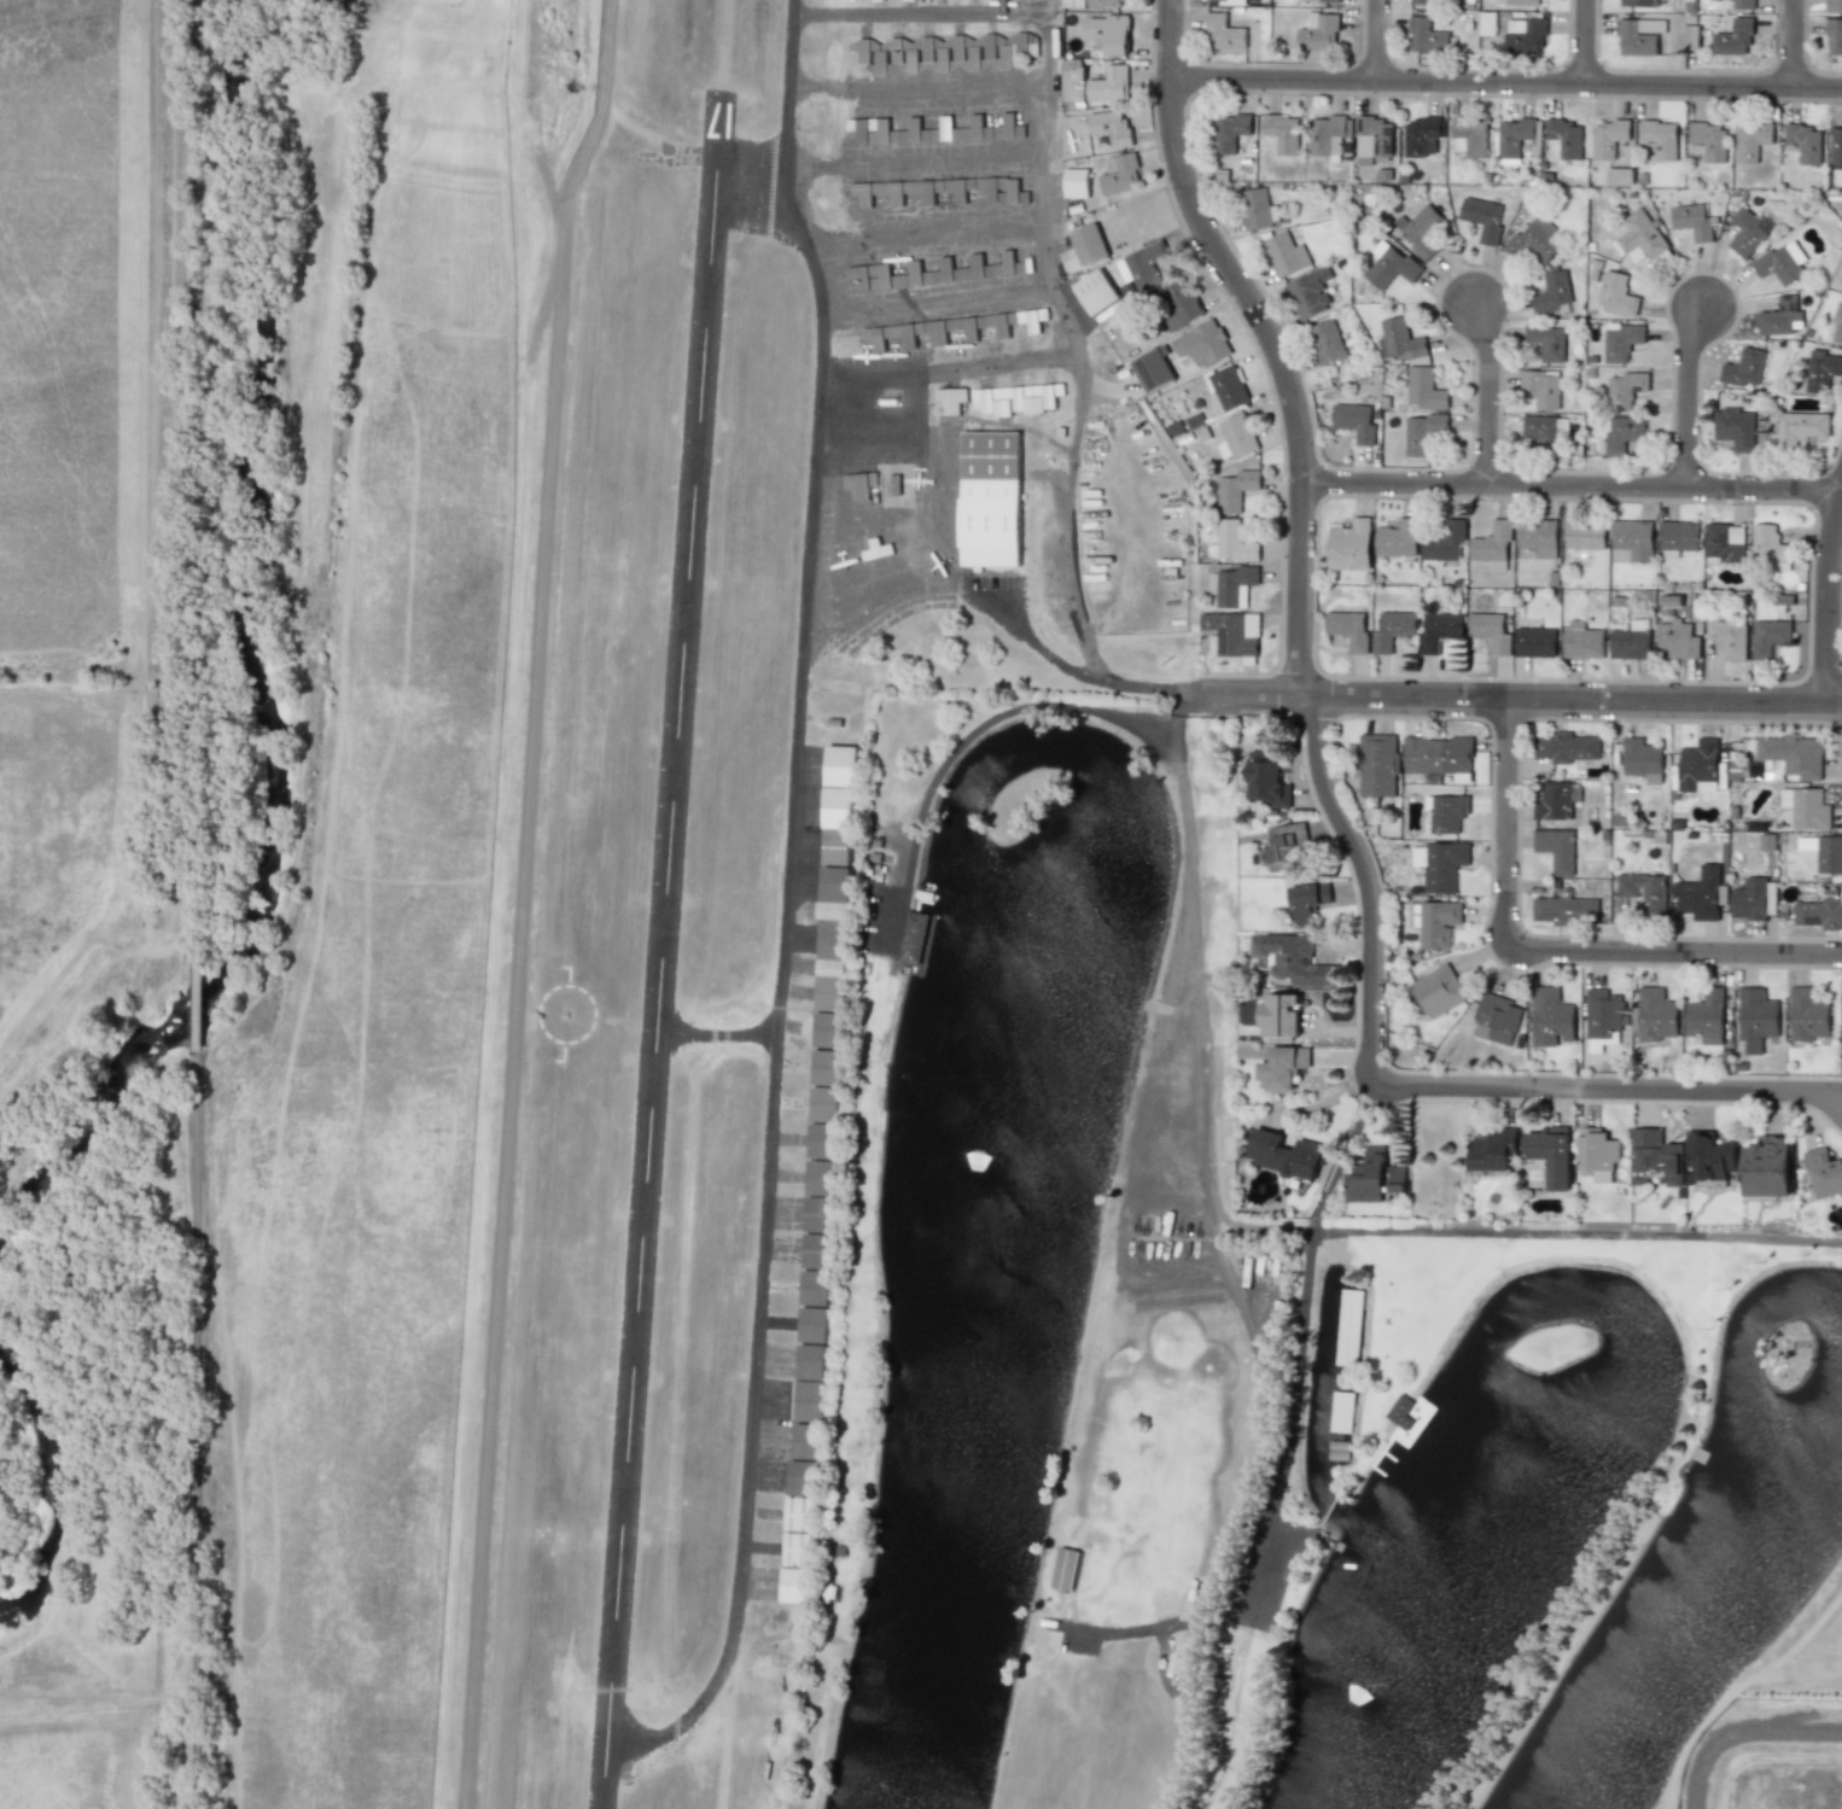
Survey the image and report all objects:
building: (1216, 0)
building: (1328, 0)
building: (1420, 1)
building: (1073, 2)
building: (1107, 2)
building: (1525, 2)
building: (1638, 2)
building: (1743, 4)
building: (1834, 6)
airport taxiway: (913, 13)
building: (1487, 23)
building: (1222, 31)
building: (1318, 31)
building: (1109, 33)
building: (1525, 35)
building: (1639, 35)
building: (1427, 36)
building: (1692, 36)
building: (1834, 36)
road: (1377, 37)
building: (1735, 37)
road: (1586, 40)
road: (1795, 41)
building: (943, 53)
road: (1506, 77)
building: (1073, 82)
airport taxiway: (792, 83)
building: (1109, 84)
airport taxiway: (915, 86)
building: (1111, 127)
building: (990, 128)
building: (869, 129)
building: (923, 132)
building: (1282, 132)
building: (1327, 135)
building: (1516, 135)
building: (1422, 136)
building: (1469, 136)
building: (1566, 136)
building: (1609, 136)
building: (1372, 138)
building: (1660, 138)
building: (1709, 140)
building: (1751, 141)
building: (1803, 141)
building: (1836, 145)
airport taxiway: (882, 162)
building: (1119, 174)
building: (1619, 176)
building: (1076, 182)
building: (925, 189)
building: (1010, 191)
airport apron: (949, 197)
building: (1255, 208)
building: (1483, 216)
building: (1692, 221)
building: (1420, 229)
building: (1747, 230)
building: (1638, 235)
airport taxiway: (921, 238)
building: (1534, 240)
building: (1088, 244)
building: (1286, 253)
building: (1779, 262)
building: (1005, 265)
building: (1142, 265)
building: (1391, 265)
building: (970, 268)
building: (899, 275)
building: (1096, 291)
building: (1310, 291)
building: (1552, 292)
building: (1616, 293)
airport taxiway: (928, 297)
building: (1178, 307)
building: (1780, 316)
building: (1837, 325)
building: (946, 328)
road: (1275, 338)
building: (1400, 339)
building: (1622, 340)
building: (1328, 342)
building: (1549, 342)
building: (1207, 343)
building: (1744, 367)
building: (1153, 368)
airport taxiway: (939, 369)
building: (1821, 369)
building: (1543, 386)
building: (1228, 387)
building: (1423, 389)
building: (1626, 389)
road: (1493, 391)
road: (1692, 392)
building: (951, 399)
building: (1354, 421)
building: (1801, 426)
building: (1735, 427)
building: (1544, 428)
building: (1423, 432)
building: (1236, 434)
building: (1621, 434)
road: (191, 471)
road: (1574, 482)
building: (861, 484)
building: (894, 485)
building: (1236, 489)
airport apron: (882, 491)
building: (990, 498)
building: (1585, 535)
building: (1538, 536)
building: (1677, 537)
building: (1397, 538)
building: (1631, 539)
building: (1444, 541)
building: (1231, 542)
building: (1725, 543)
building: (1350, 544)
building: (1492, 545)
building: (1770, 547)
building: (875, 549)
building: (1232, 584)
road: (1831, 602)
building: (1348, 629)
building: (1392, 630)
building: (1439, 630)
building: (1491, 631)
road: (1083, 635)
building: (1730, 635)
building: (1768, 636)
building: (1582, 640)
building: (1675, 640)
building: (1535, 641)
building: (1631, 641)
road: (1032, 642)
road: (1526, 698)
road: (983, 724)
building: (1564, 746)
building: (1793, 753)
building: (1438, 755)
building: (1642, 759)
building: (1377, 765)
building: (1698, 766)
building: (1265, 780)
building: (840, 787)
building: (1556, 799)
building: (1806, 807)
building: (1446, 812)
building: (1284, 844)
building: (835, 847)
building: (1556, 848)
building: (1829, 853)
building: (1440, 863)
building: (835, 885)
building: (1644, 889)
building: (1701, 894)
building: (1751, 898)
road: (526, 900)
building: (1307, 900)
building: (1564, 909)
building: (1820, 910)
building: (1438, 922)
building: (913, 936)
crop: (194, 941)
road: (1555, 945)
airport runway: (663, 953)
road: (1366, 953)
building: (832, 967)
airport taxiway: (780, 975)
building: (1436, 991)
road: (196, 996)
building: (1656, 1014)
building: (1808, 1014)
building: (1280, 1015)
building: (1706, 1016)
building: (1551, 1017)
building: (1756, 1017)
building: (1496, 1019)
building: (1602, 1019)
building: (827, 1029)
airport taxiway: (717, 1033)
building: (1283, 1066)
road: (1677, 1087)
building: (822, 1139)
building: (1492, 1149)
building: (1598, 1152)
building: (1283, 1154)
building: (1550, 1154)
building: (1654, 1156)
building: (1709, 1156)
building: (1767, 1166)
building: (1824, 1172)
building: (1374, 1177)
road: (1576, 1235)
building: (816, 1250)
building: (815, 1288)
building: (812, 1325)
building: (1348, 1326)
road: (1302, 1341)
building: (810, 1383)
building: (1340, 1411)
building: (1399, 1411)
road: (196, 1429)
building: (808, 1441)
building: (805, 1478)
building: (797, 1550)
building: (1065, 1568)
road: (1149, 1628)
road: (1742, 1732)

